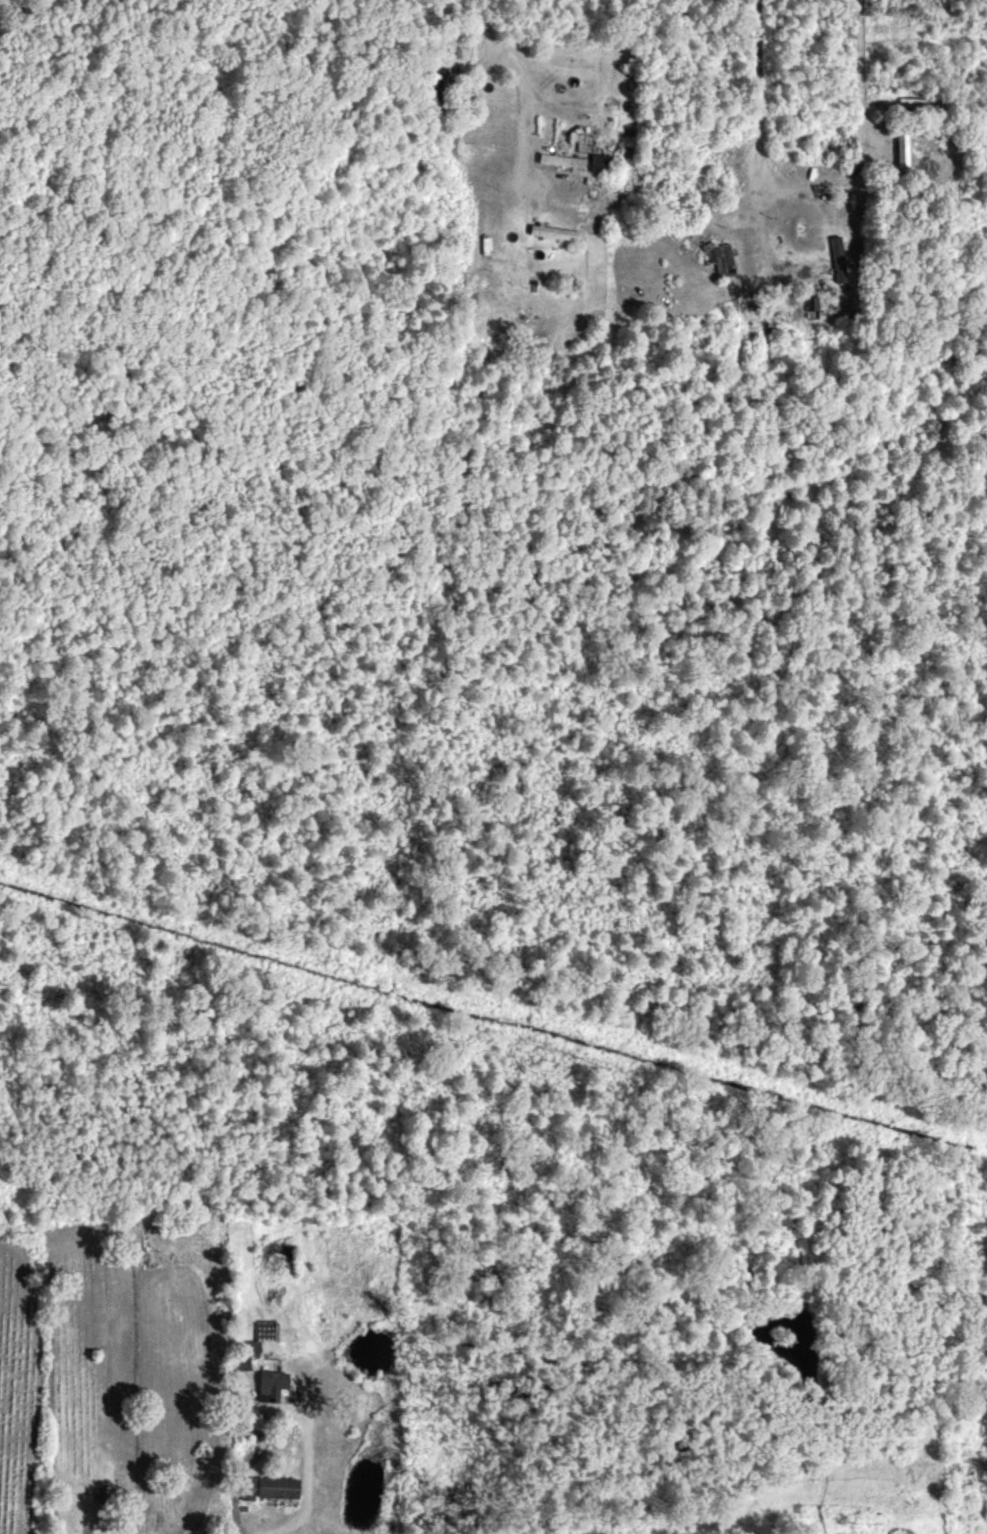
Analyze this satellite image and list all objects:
road: (93, 37)
road: (499, 55)
building: (560, 159)
road: (803, 186)
building: (718, 257)
building: (245, 1352)
building: (268, 1384)
road: (240, 1457)
road: (307, 1482)
building: (266, 1486)

